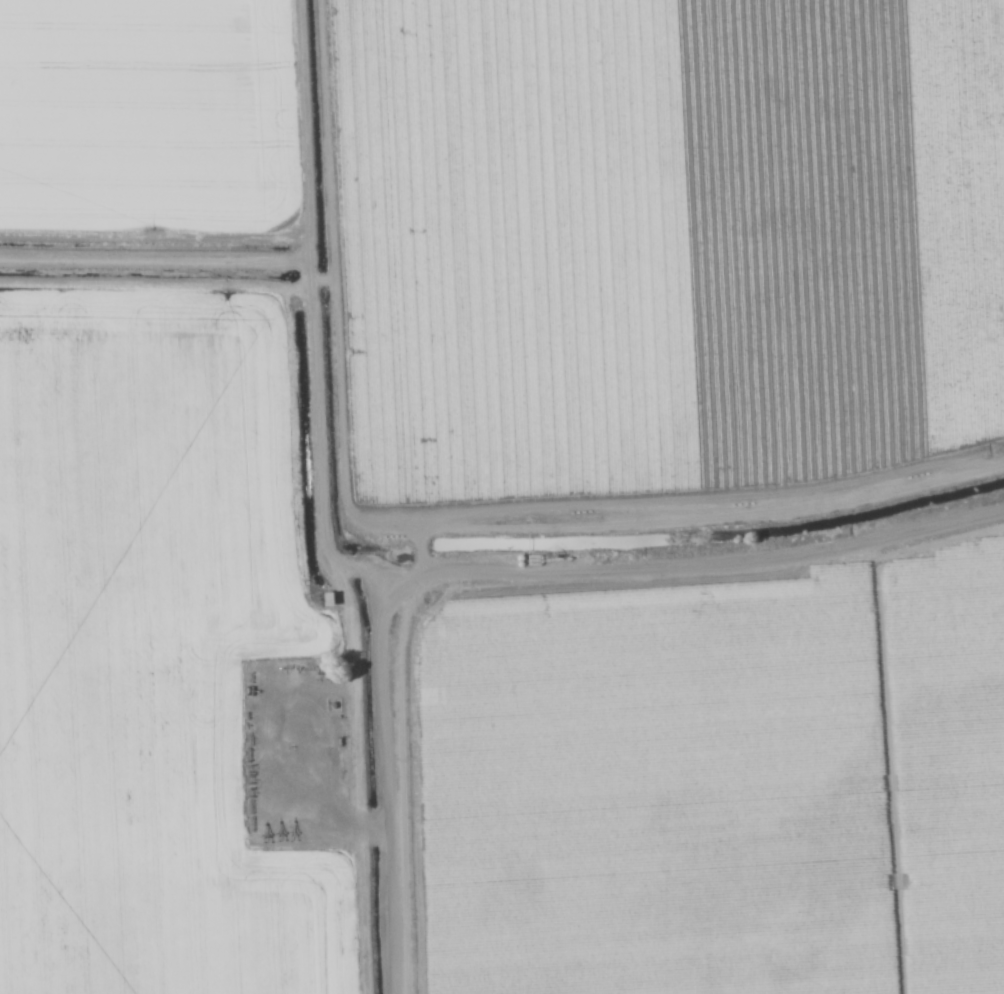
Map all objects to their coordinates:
road: (313, 288)
road: (674, 553)
road: (388, 784)

